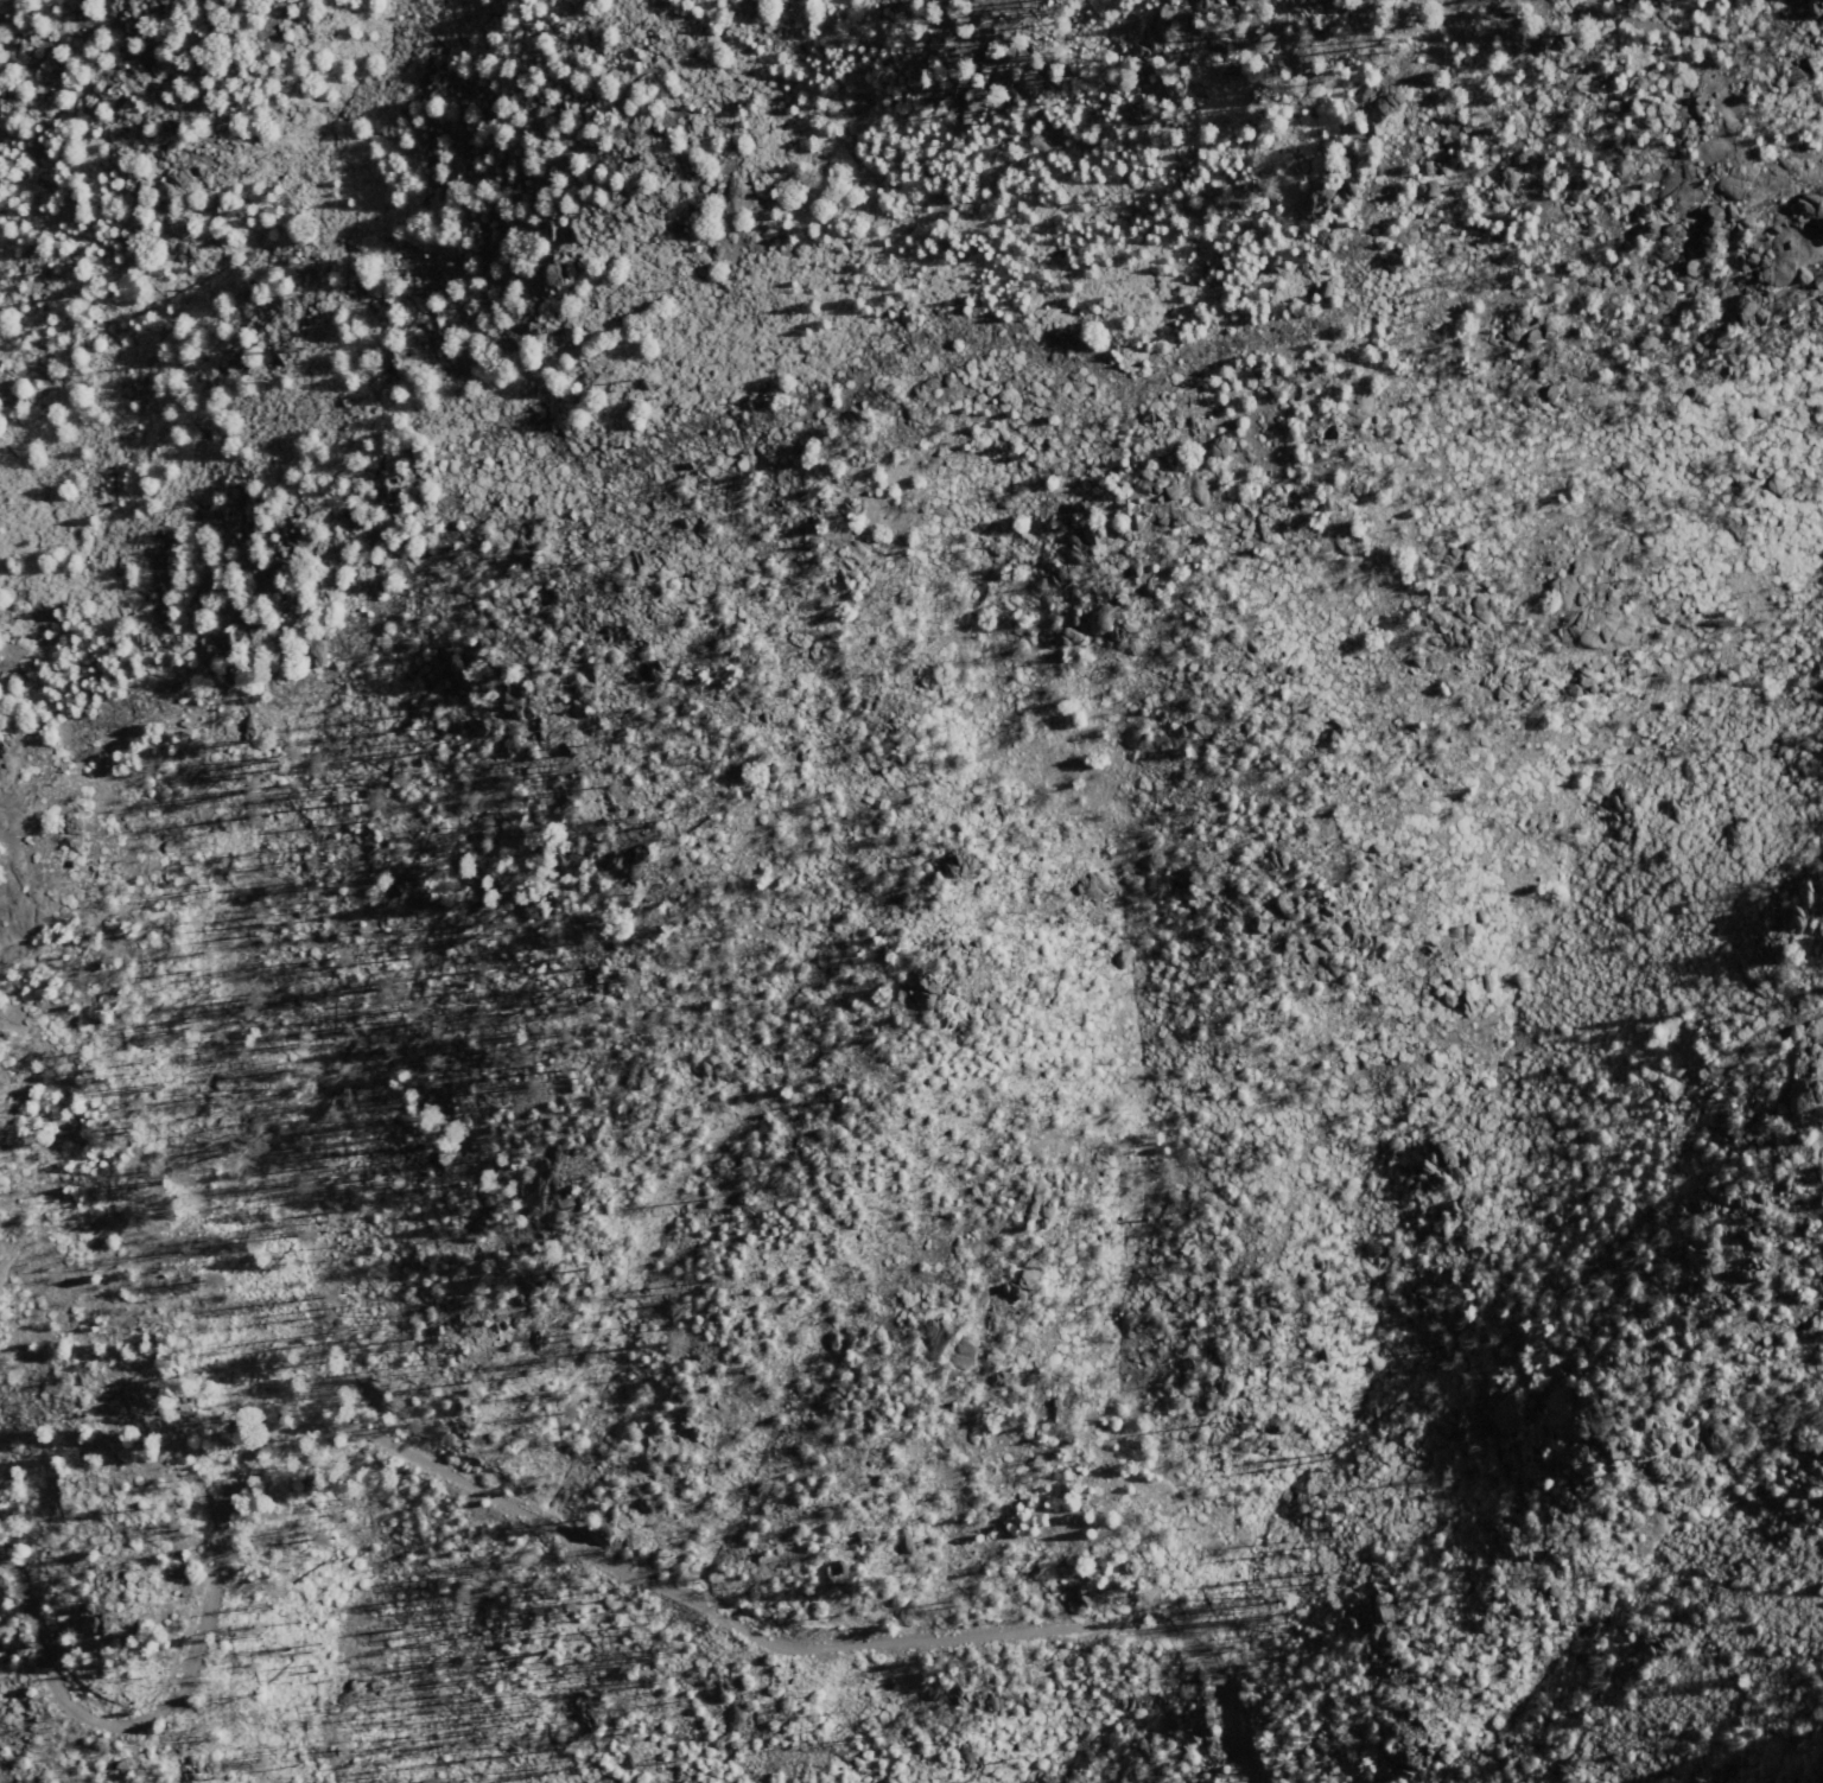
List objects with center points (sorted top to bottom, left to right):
road: (140, 409)
road: (144, 1304)
road: (538, 1523)

